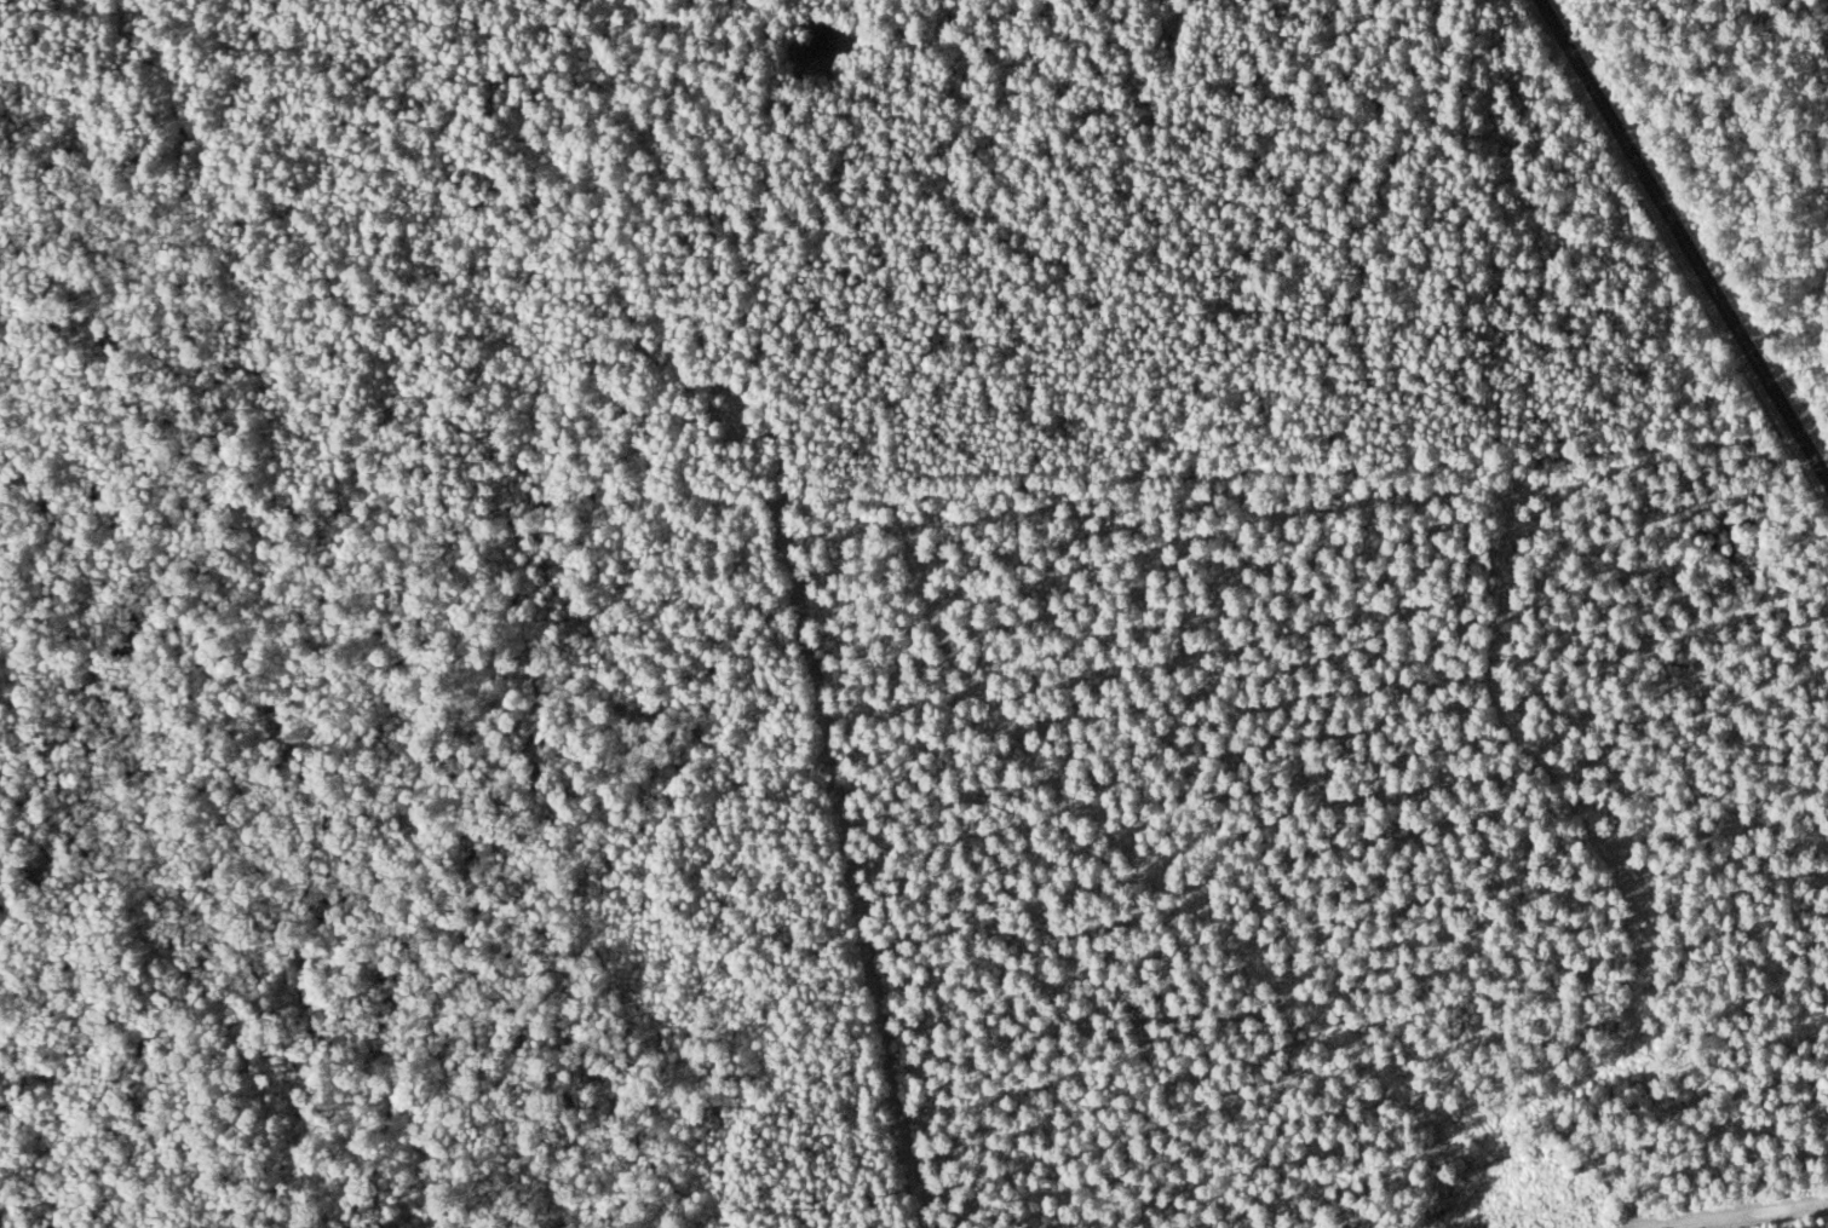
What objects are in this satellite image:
road: (1682, 237)

